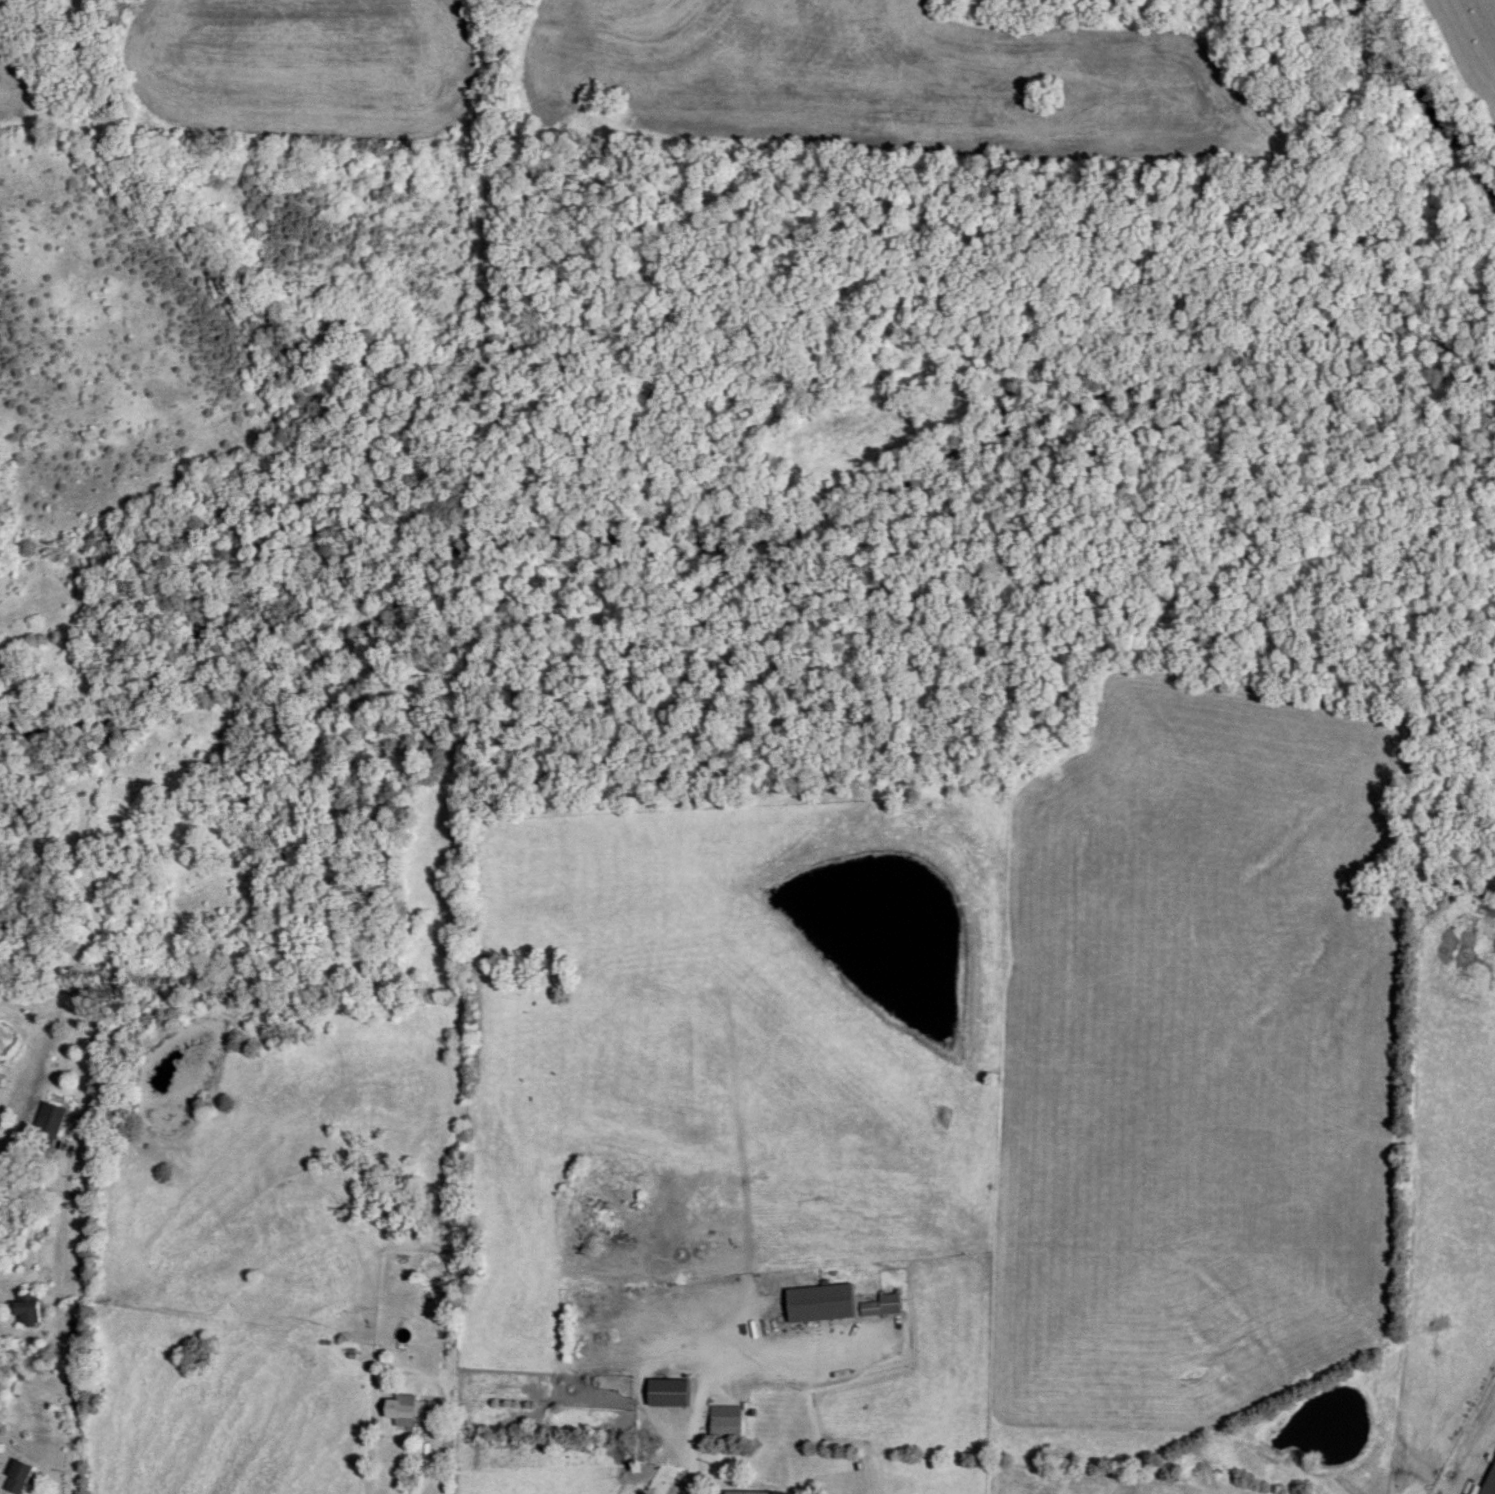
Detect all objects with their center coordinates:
building: (48, 1123)
building: (689, 1204)
building: (821, 1303)
building: (882, 1306)
building: (28, 1308)
road: (66, 1327)
building: (602, 1337)
road: (753, 1346)
road: (635, 1374)
building: (670, 1392)
road: (379, 1396)
building: (410, 1412)
building: (727, 1421)
road: (429, 1457)
road: (689, 1459)
building: (19, 1477)
building: (1491, 1484)
building: (755, 1493)

